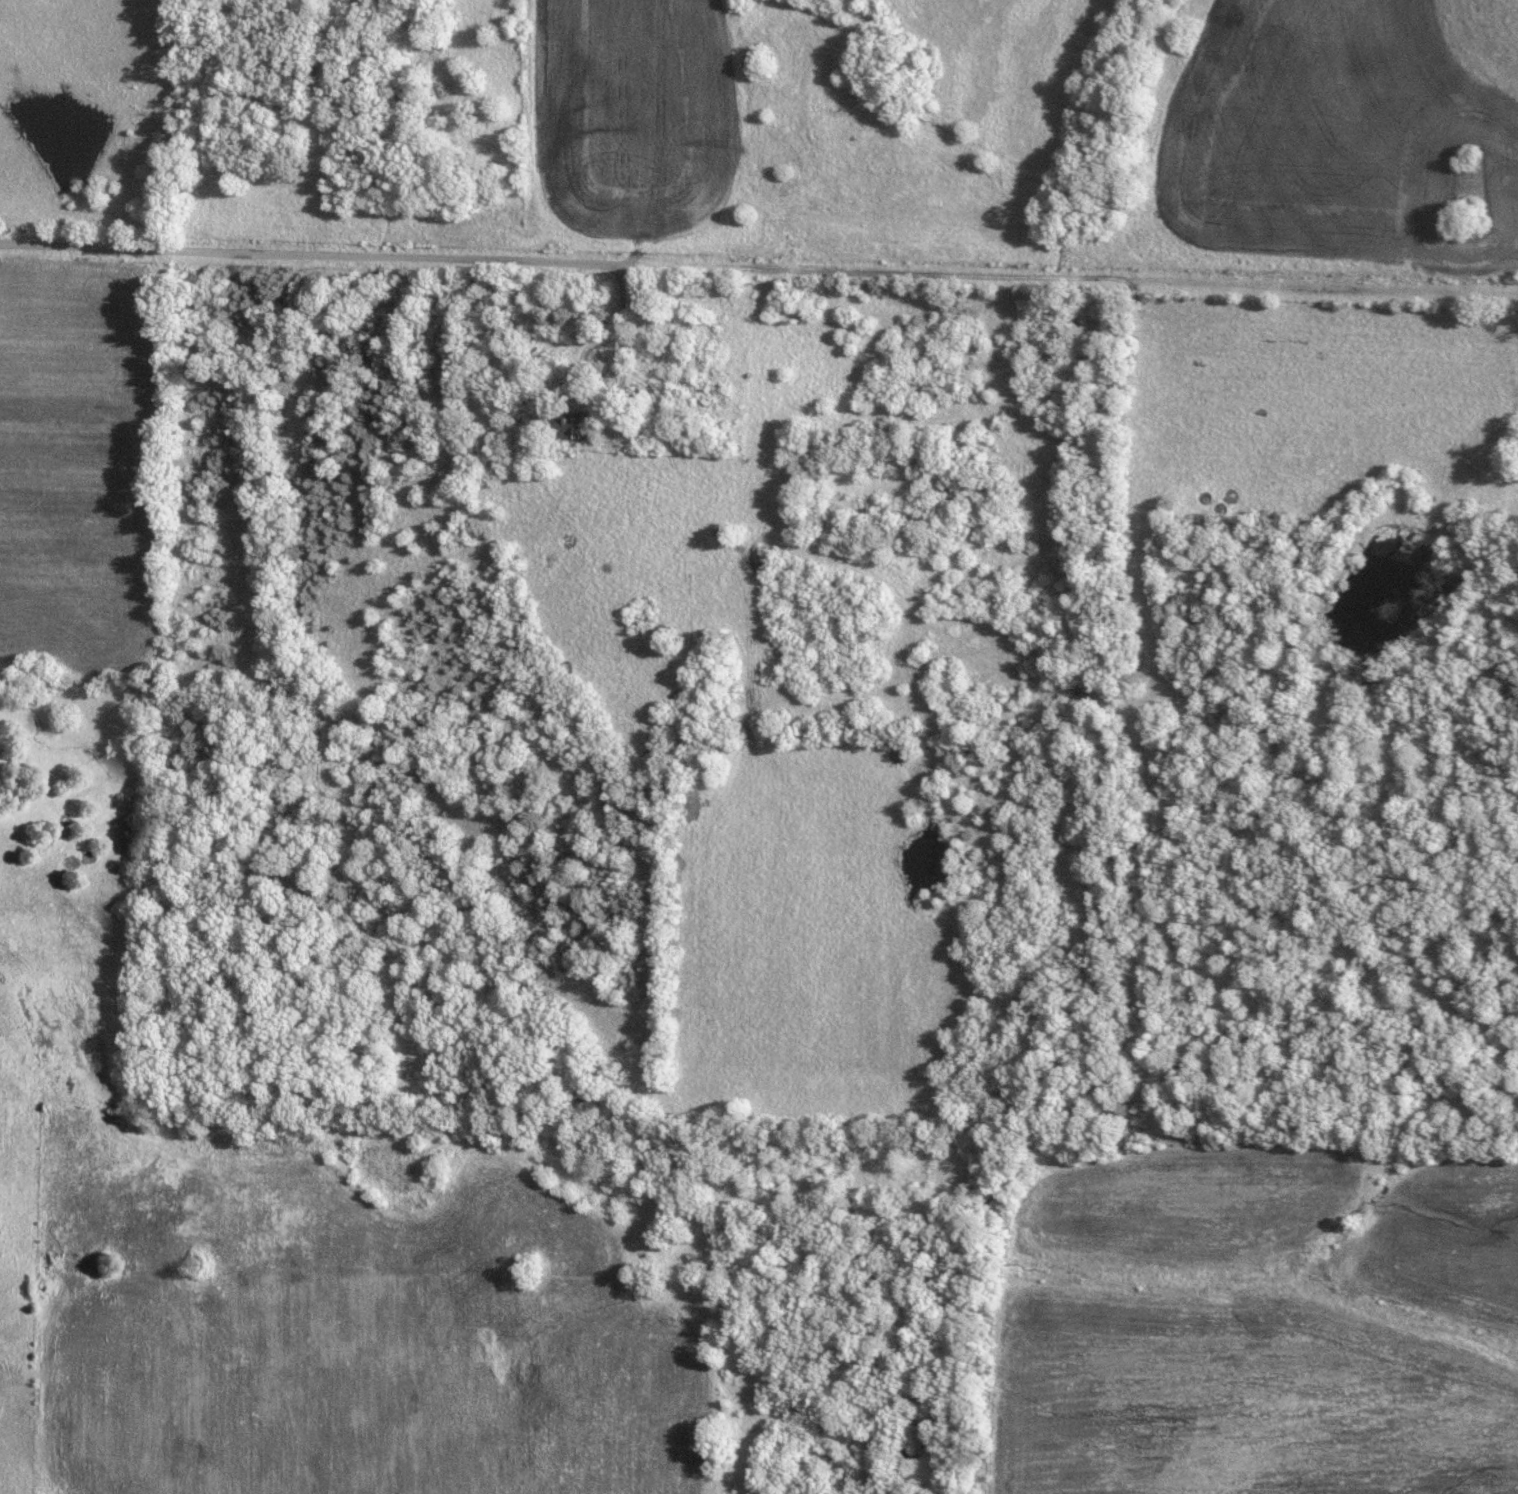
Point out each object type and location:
road: (759, 263)
road: (617, 290)
road: (587, 358)
building: (568, 426)

